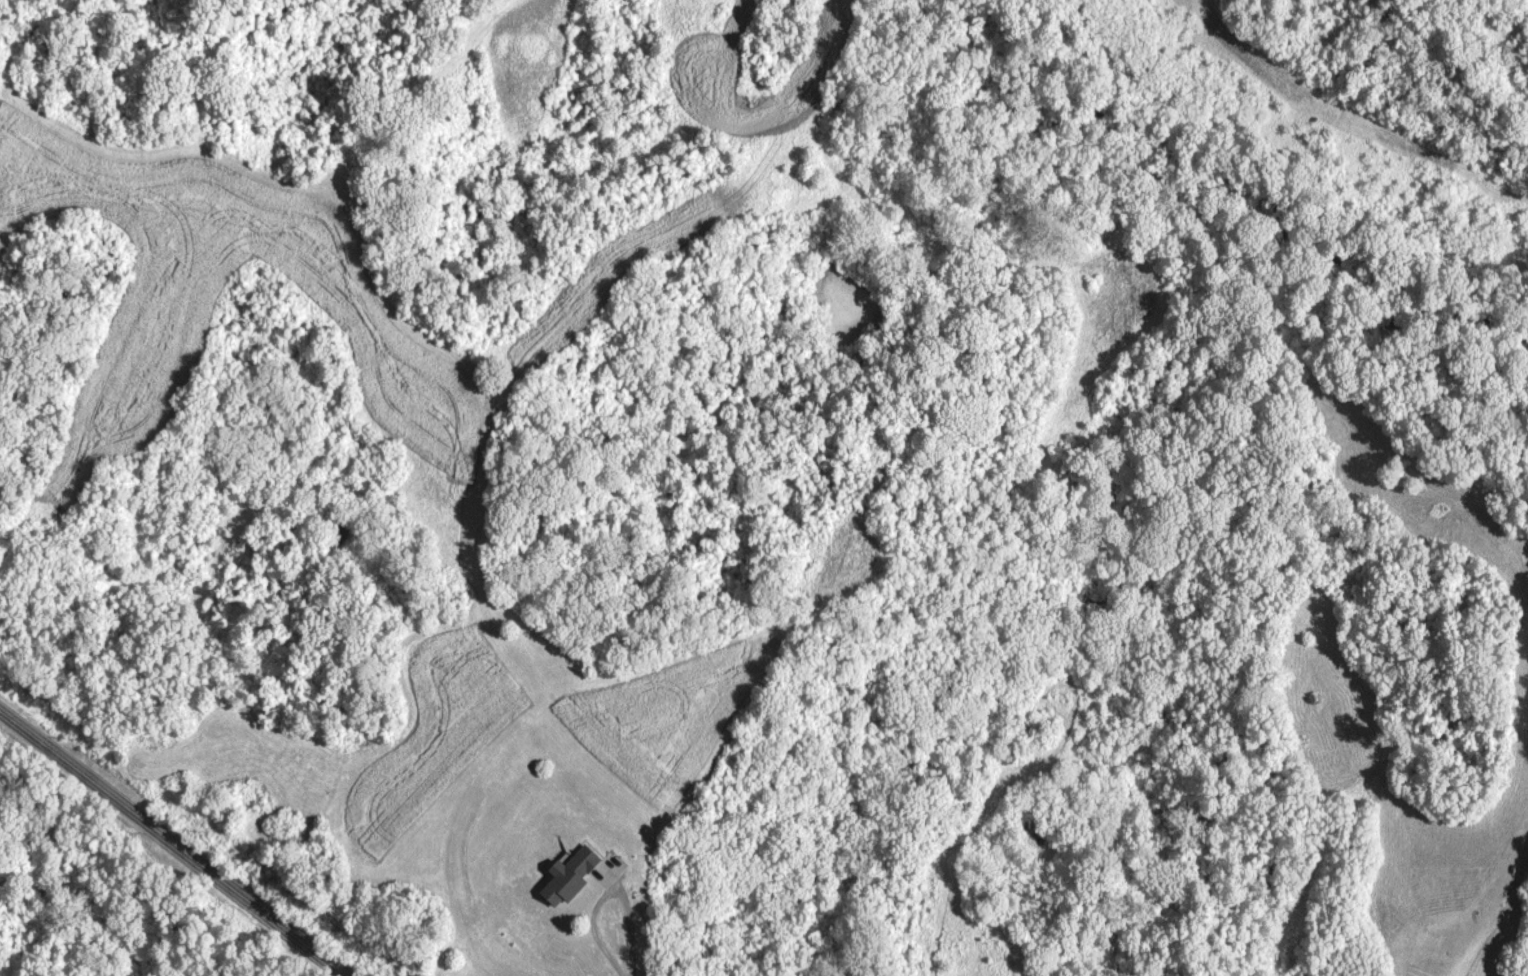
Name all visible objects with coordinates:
road: (168, 847)
building: (571, 875)
road: (606, 893)

